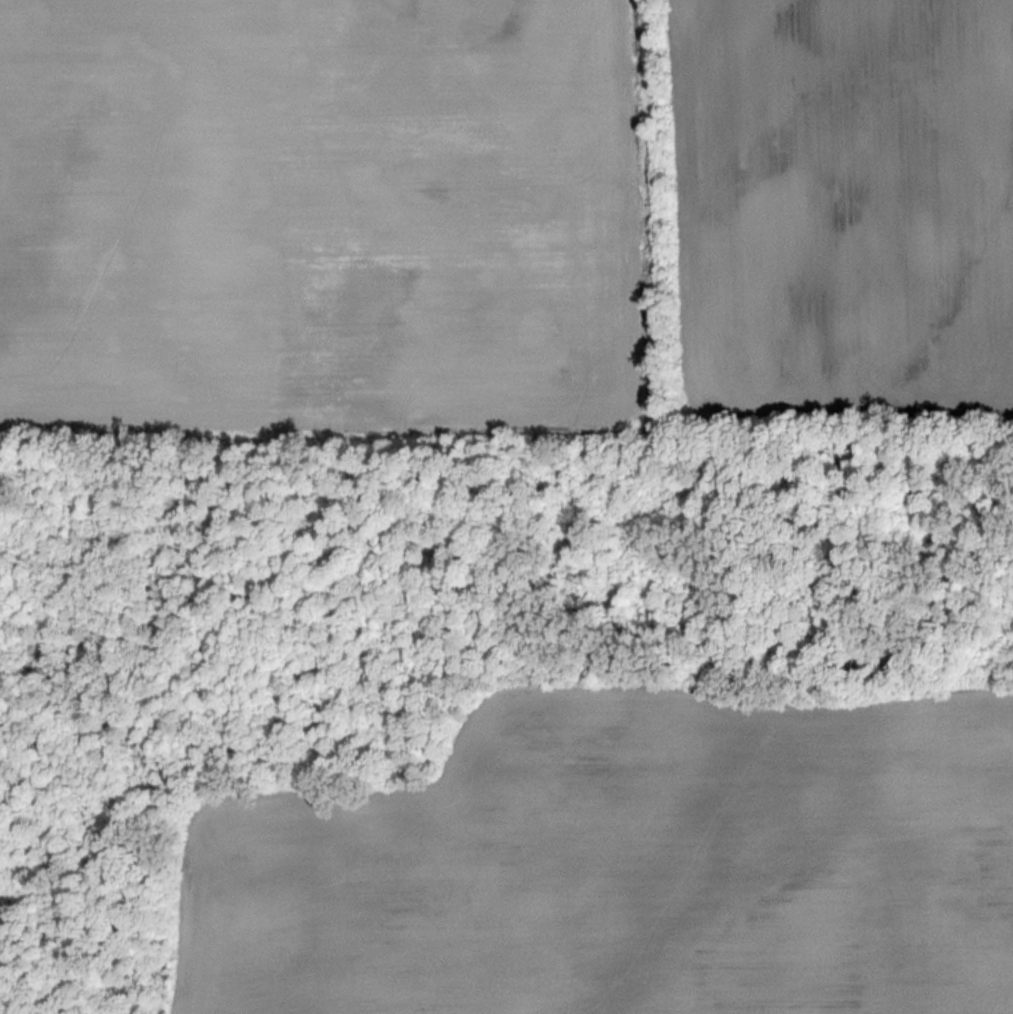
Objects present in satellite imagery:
crop: (844, 209)
crop: (317, 215)
crop: (624, 864)

